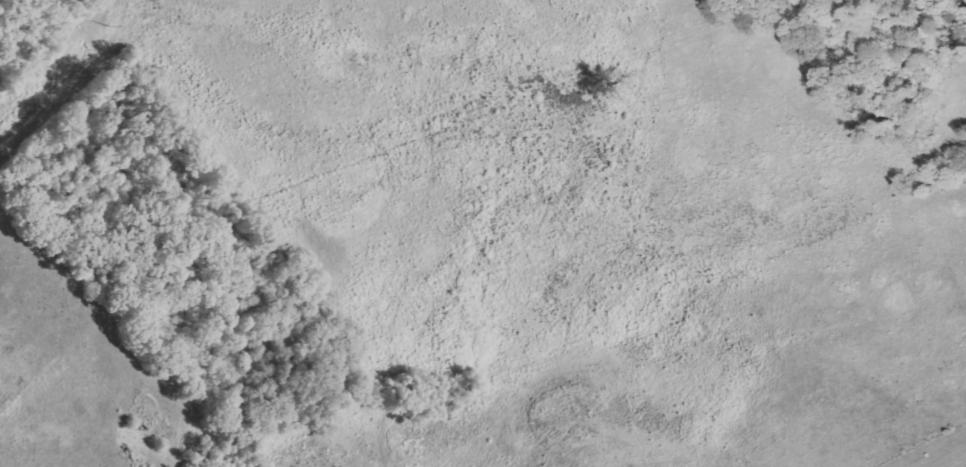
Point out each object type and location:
power tower: (105, 28)

